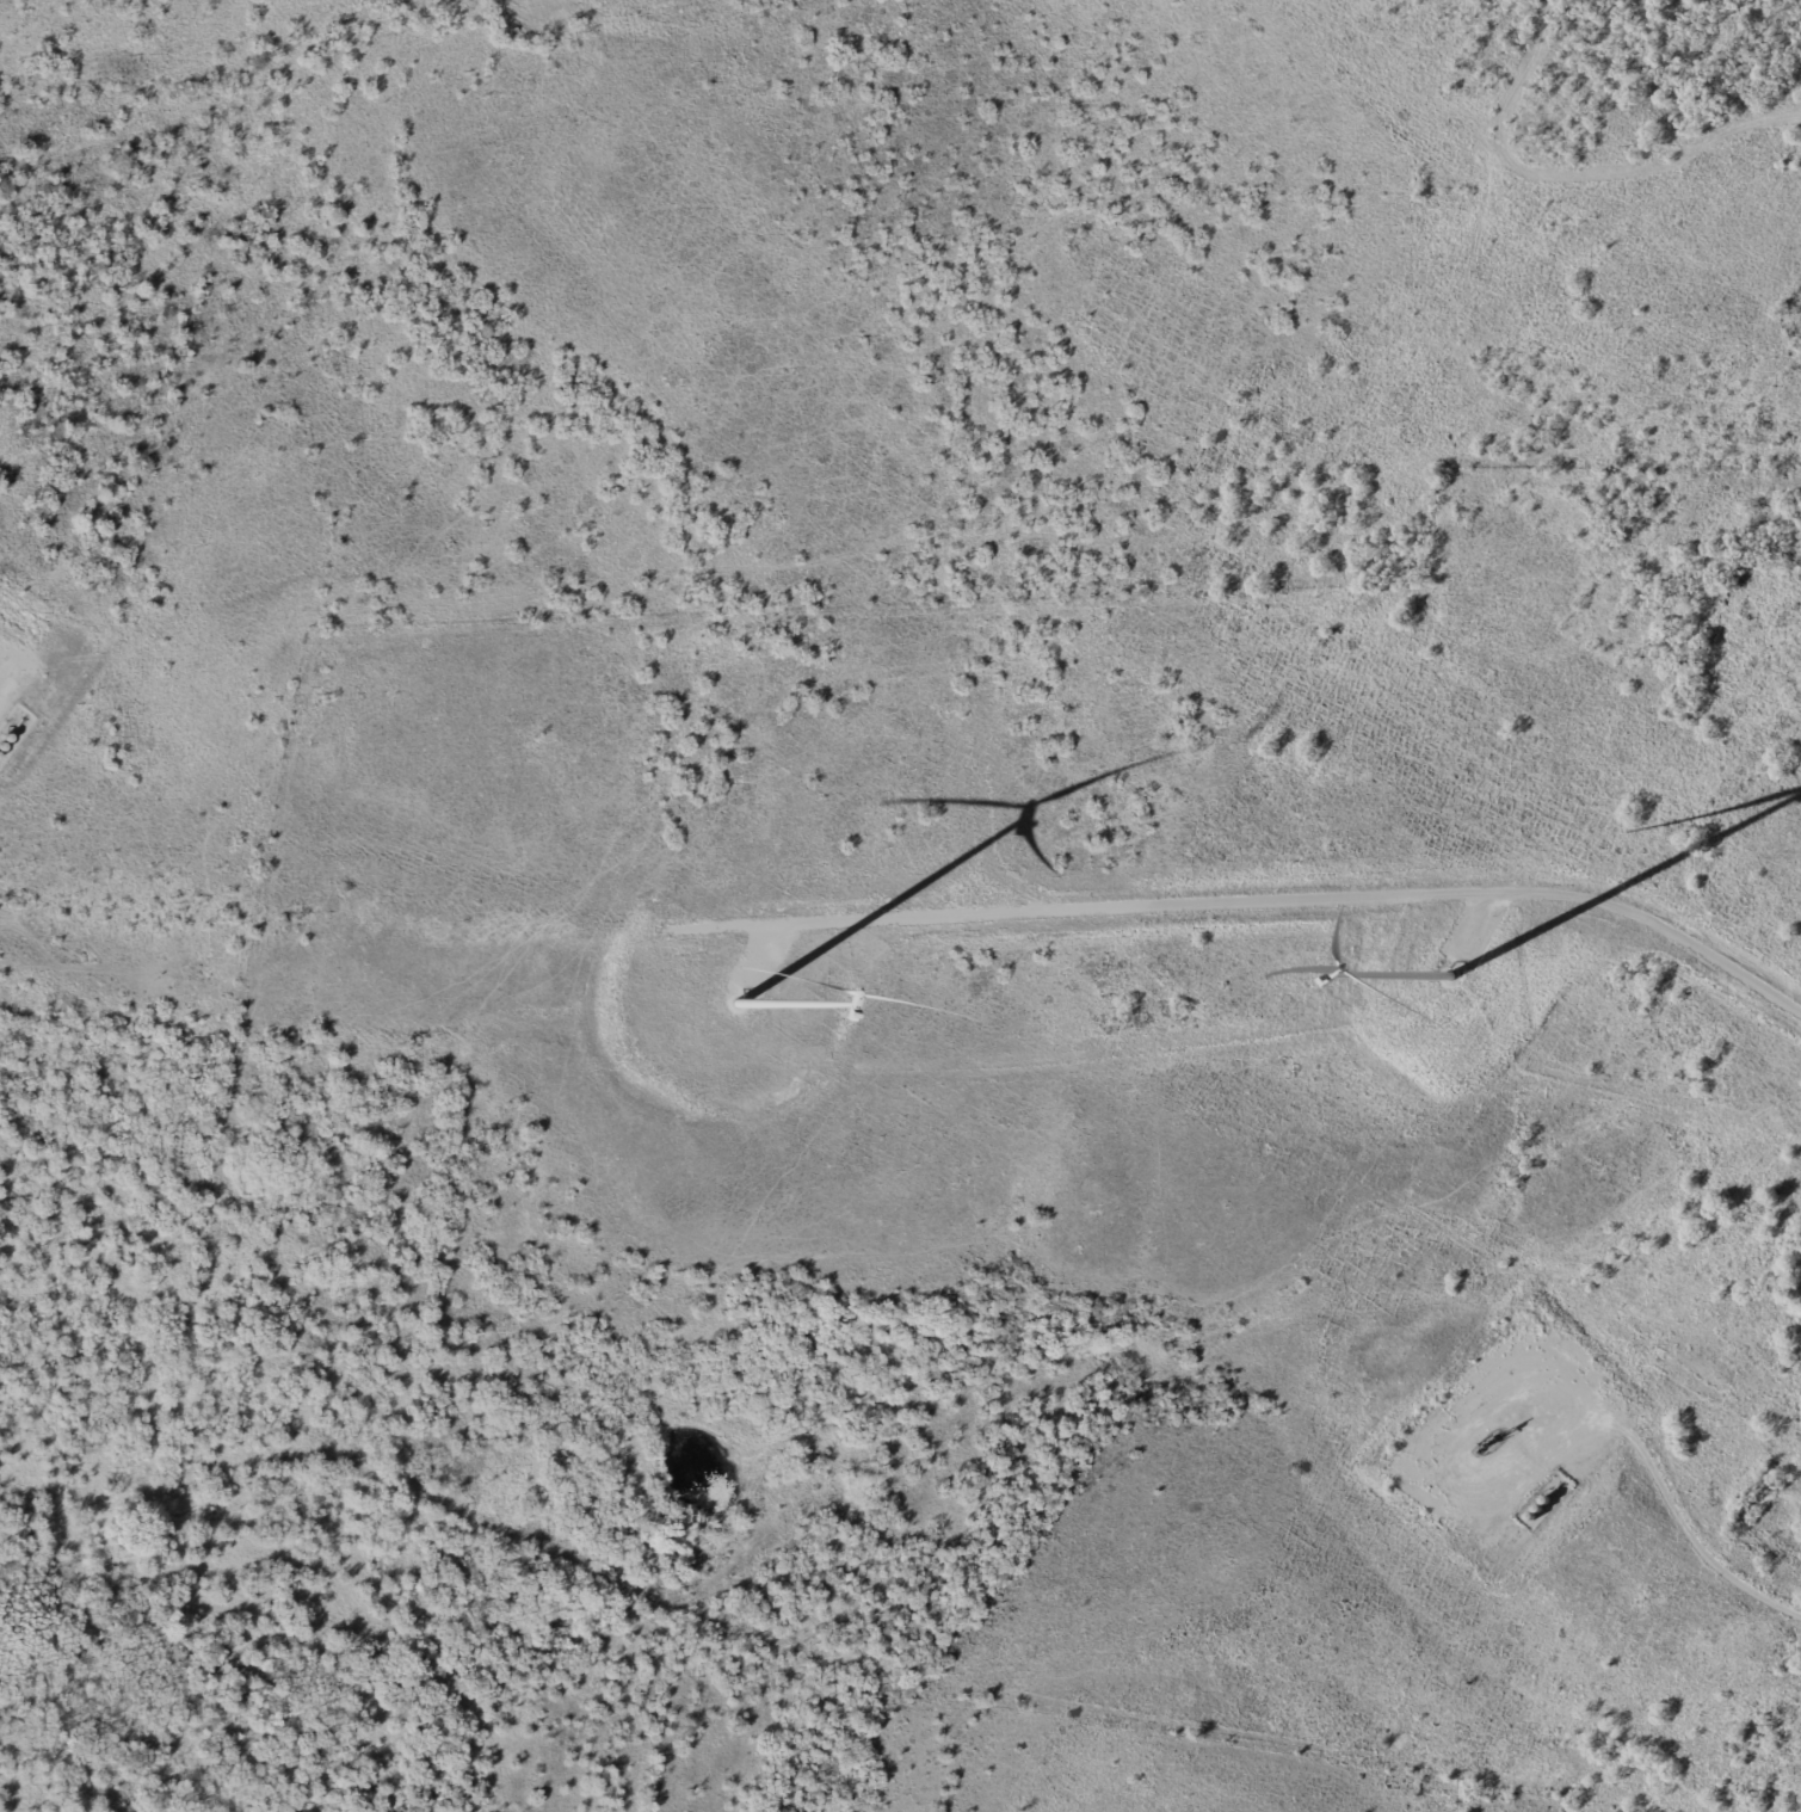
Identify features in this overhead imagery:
road: (1251, 905)
wind turbine: (1454, 969)
wind turbine: (746, 1004)

